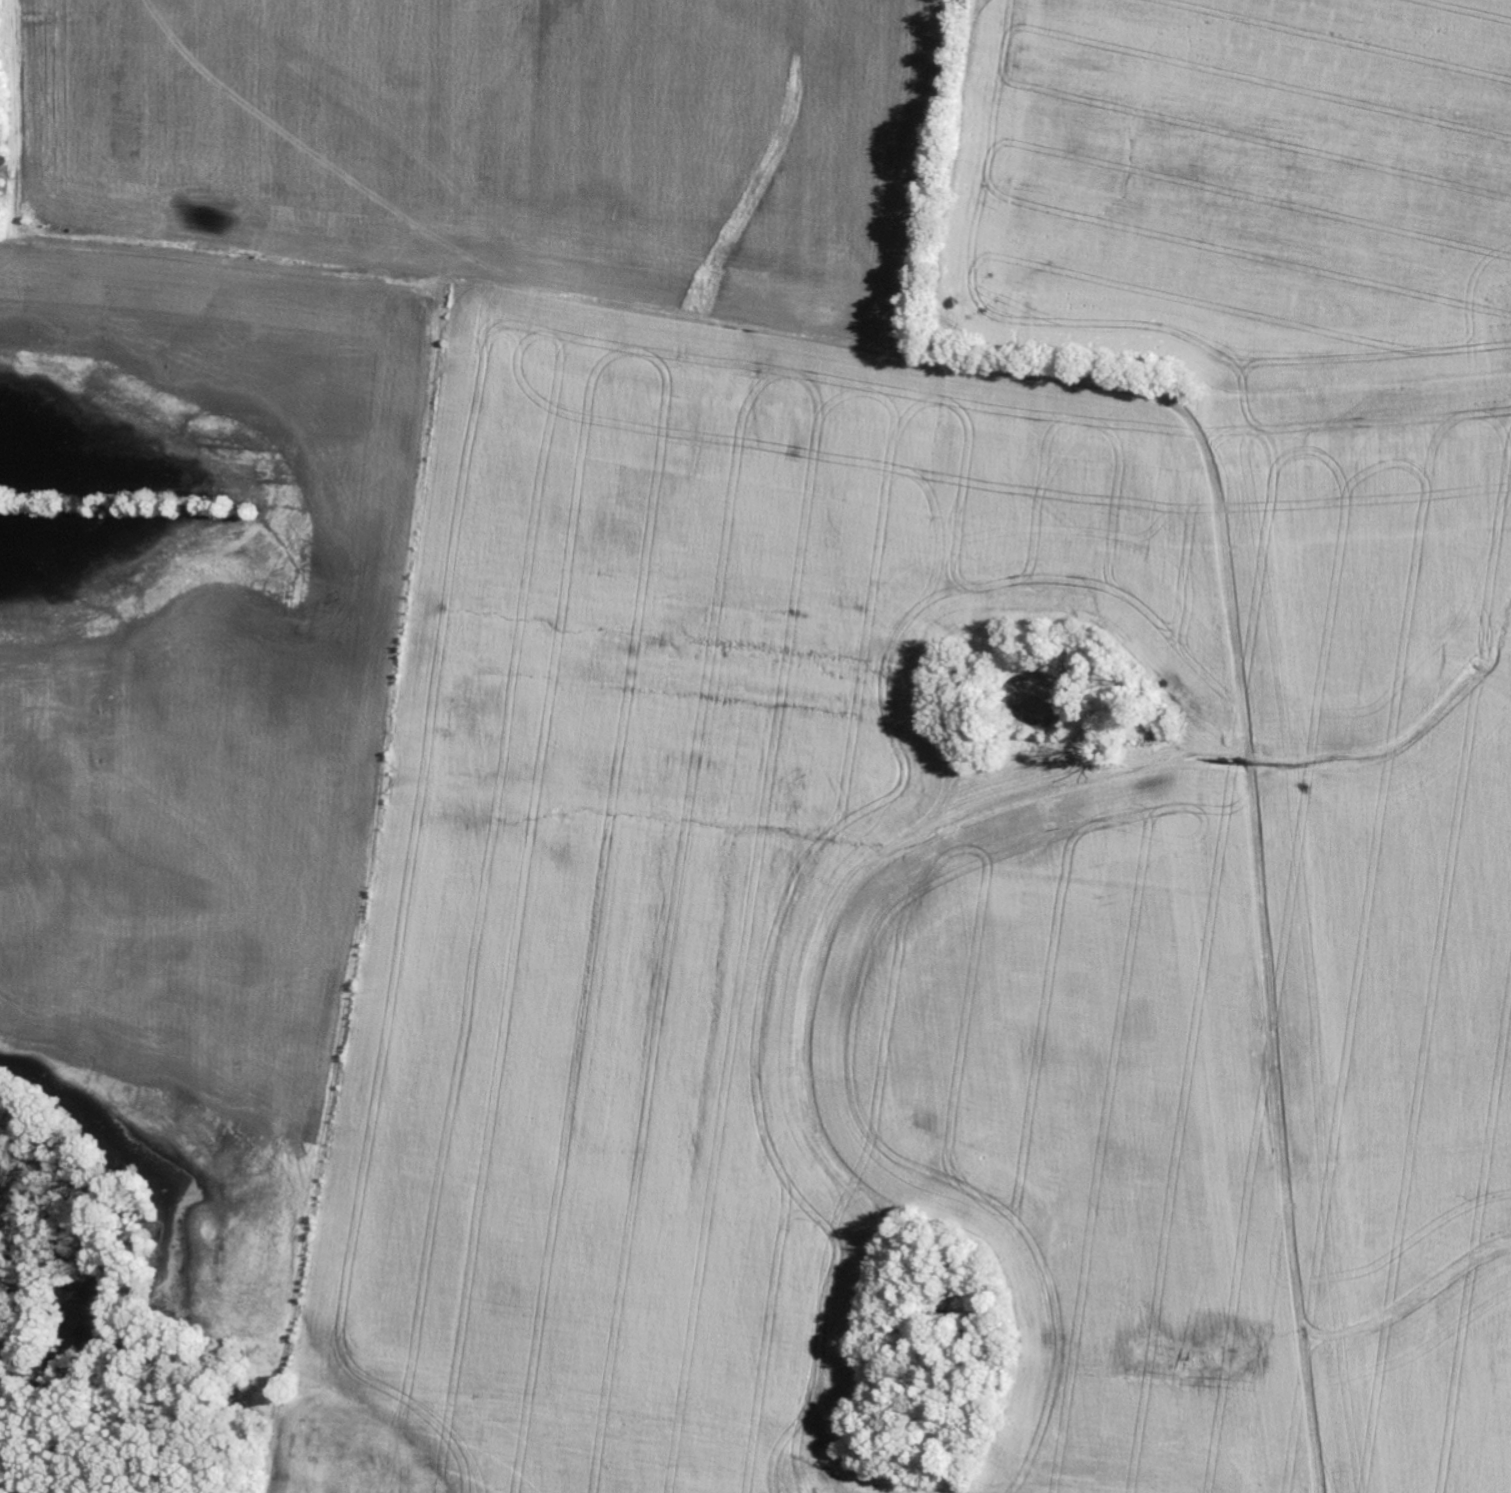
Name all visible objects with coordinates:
road: (405, 684)

